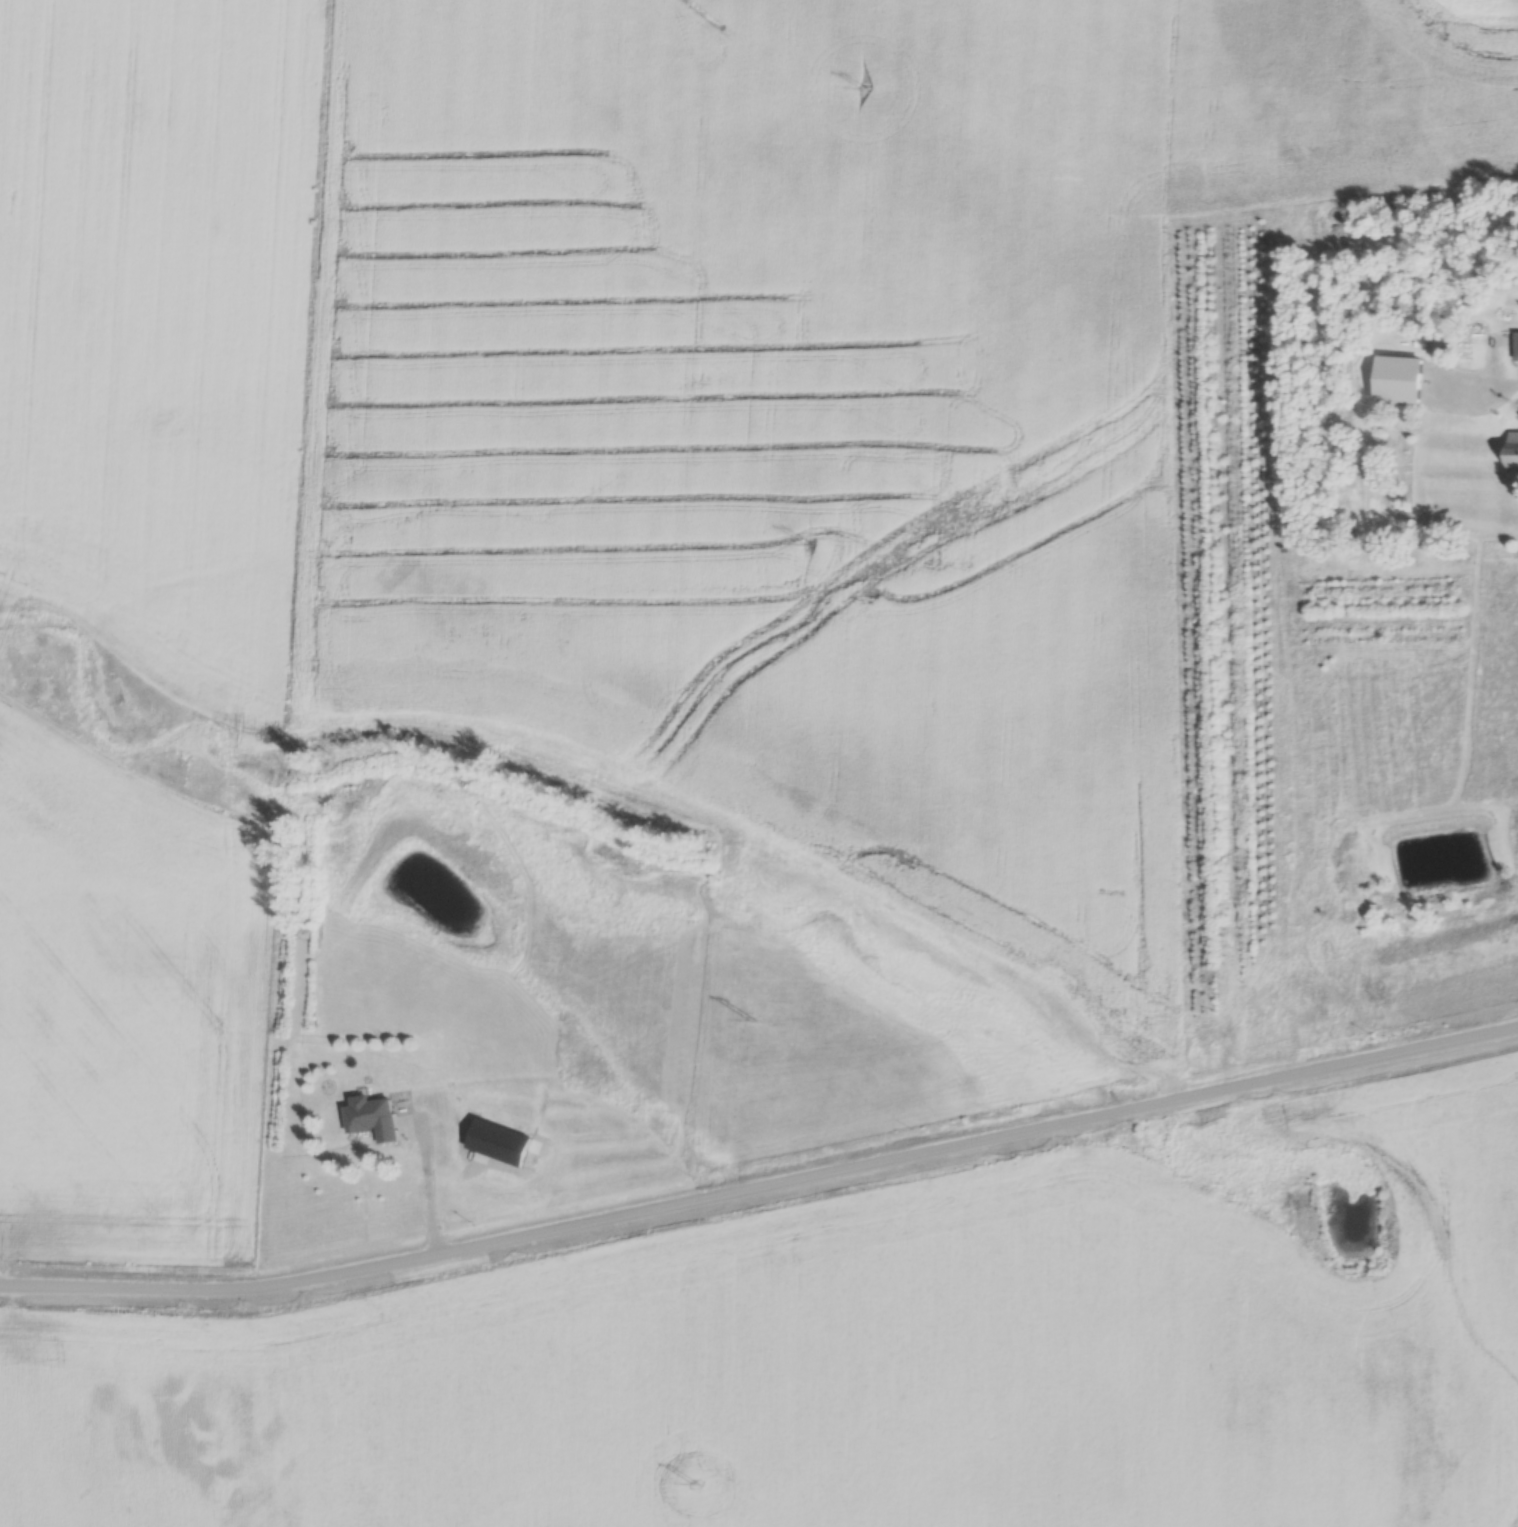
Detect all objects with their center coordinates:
power tower: (863, 90)
crop: (155, 331)
road: (1475, 388)
building: (1514, 450)
power tower: (809, 544)
power tower: (751, 1020)
building: (372, 1119)
road: (419, 1184)
road: (762, 1190)
power tower: (694, 1485)

